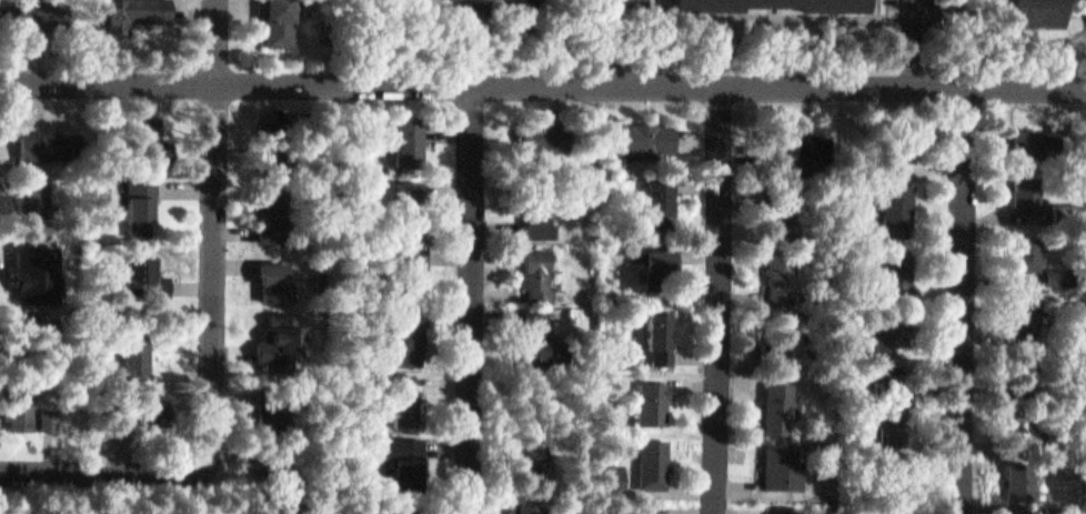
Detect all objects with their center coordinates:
building: (423, 0)
building: (470, 7)
road: (878, 8)
building: (128, 10)
building: (710, 10)
building: (34, 11)
building: (1042, 12)
road: (816, 14)
building: (279, 17)
road: (1033, 36)
parking lot: (625, 40)
parking lot: (918, 40)
road: (624, 41)
road: (918, 42)
road: (776, 50)
road: (542, 82)
building: (530, 130)
building: (635, 131)
building: (402, 135)
building: (150, 137)
building: (51, 138)
building: (268, 138)
building: (810, 138)
building: (1032, 142)
building: (901, 143)
building: (79, 178)
building: (1029, 188)
building: (36, 191)
building: (652, 196)
building: (899, 196)
building: (140, 198)
building: (775, 202)
building: (403, 204)
building: (270, 206)
road: (218, 211)
building: (100, 215)
building: (529, 222)
building: (1023, 248)
building: (408, 256)
building: (37, 265)
building: (901, 265)
building: (654, 269)
building: (780, 269)
building: (138, 270)
building: (273, 273)
building: (527, 273)
building: (1060, 275)
road: (473, 298)
road: (720, 299)
road: (965, 300)
building: (1022, 305)
building: (783, 320)
building: (40, 325)
building: (404, 330)
building: (537, 331)
building: (660, 335)
building: (884, 339)
building: (279, 340)
building: (134, 346)
building: (1033, 374)
building: (403, 394)
building: (22, 396)
building: (654, 401)
building: (273, 404)
building: (144, 406)
building: (781, 407)
building: (1019, 410)
building: (50, 413)
building: (889, 413)
building: (1025, 432)
building: (530, 449)
building: (403, 454)
building: (654, 464)
building: (784, 467)
road: (120, 472)
building: (1020, 474)
building: (270, 485)
road: (132, 493)
building: (527, 505)
building: (793, 508)
building: (902, 512)
building: (399, 513)

